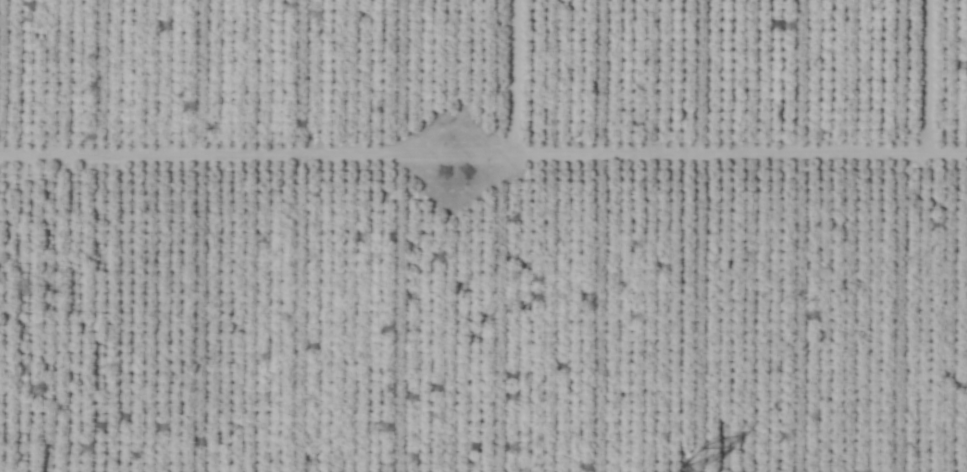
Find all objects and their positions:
power tower: (714, 462)

